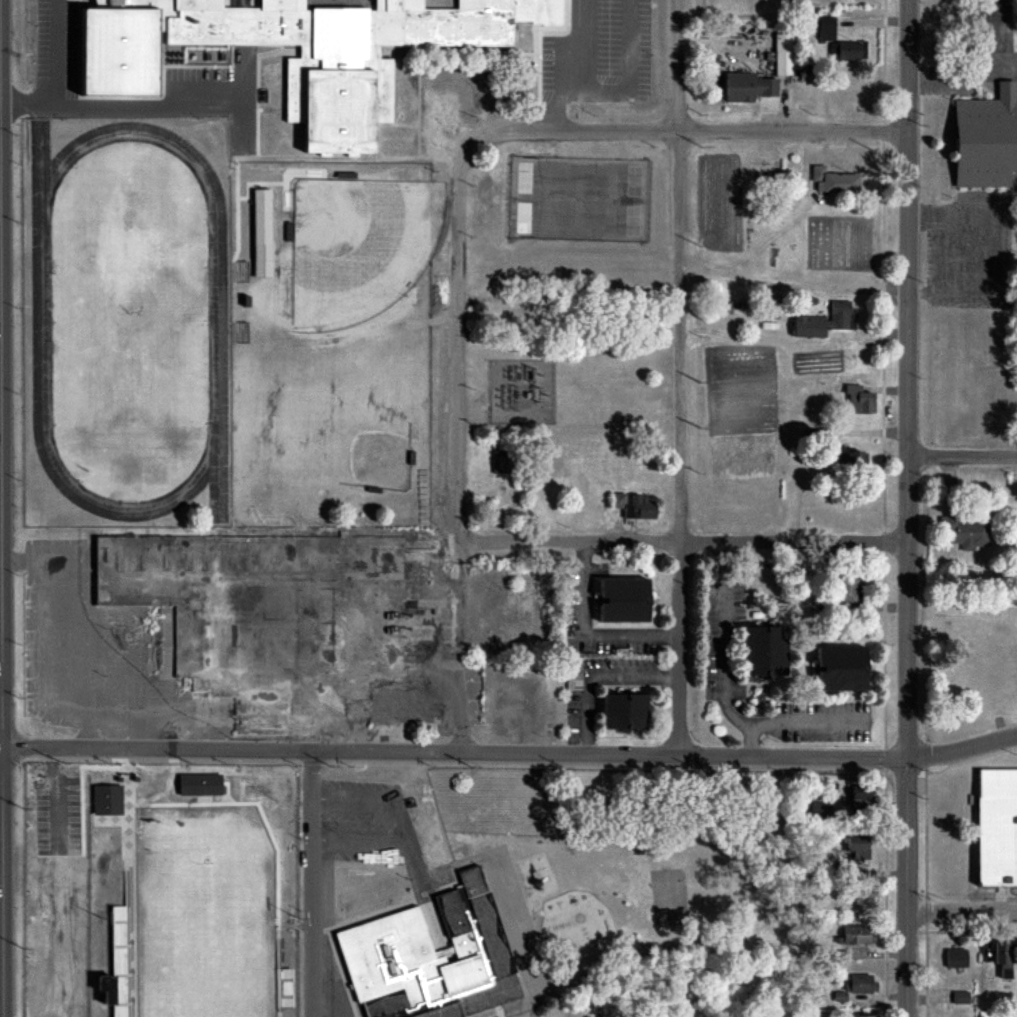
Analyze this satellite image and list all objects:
building: (824, 29)
road: (990, 37)
building: (847, 51)
building: (782, 54)
road: (574, 66)
road: (56, 74)
road: (628, 77)
road: (963, 78)
building: (339, 80)
building: (746, 87)
road: (143, 107)
road: (686, 133)
building: (985, 140)
road: (427, 164)
building: (833, 181)
park: (581, 200)
building: (260, 233)
park: (354, 246)
road: (944, 256)
park: (130, 307)
building: (824, 322)
track: (131, 323)
road: (793, 344)
road: (460, 345)
road: (680, 378)
building: (858, 401)
park: (350, 421)
road: (963, 458)
building: (850, 461)
building: (498, 462)
building: (632, 506)
road: (886, 508)
road: (909, 508)
building: (963, 533)
road: (685, 542)
road: (1, 561)
building: (845, 588)
building: (621, 600)
building: (268, 619)
road: (588, 635)
road: (461, 648)
building: (762, 650)
road: (1, 660)
building: (839, 668)
building: (572, 675)
road: (597, 677)
road: (726, 699)
building: (621, 711)
road: (751, 740)
road: (962, 750)
road: (455, 753)
building: (198, 784)
building: (859, 793)
building: (106, 800)
building: (819, 809)
road: (404, 826)
building: (996, 827)
building: (857, 847)
road: (415, 863)
road: (312, 885)
road: (963, 915)
building: (855, 935)
park: (204, 939)
building: (428, 958)
building: (955, 958)
building: (1002, 959)
building: (859, 983)
building: (101, 988)
building: (960, 997)
road: (502, 1014)
building: (863, 1016)

